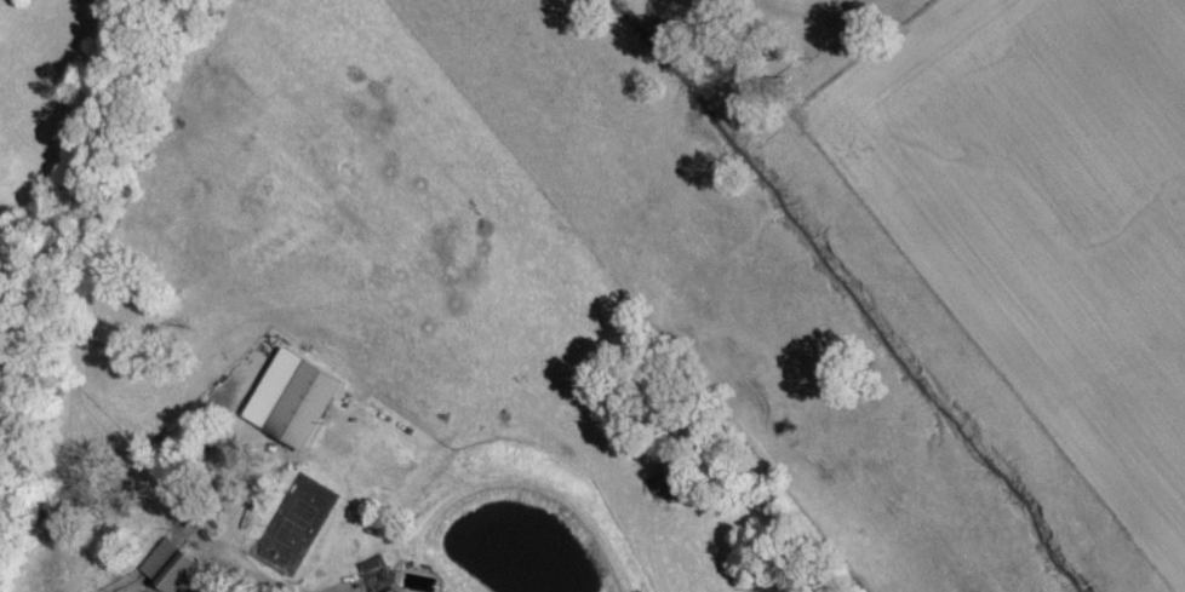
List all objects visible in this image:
building: (305, 414)
road: (223, 541)
building: (205, 557)
building: (168, 570)
building: (347, 588)

